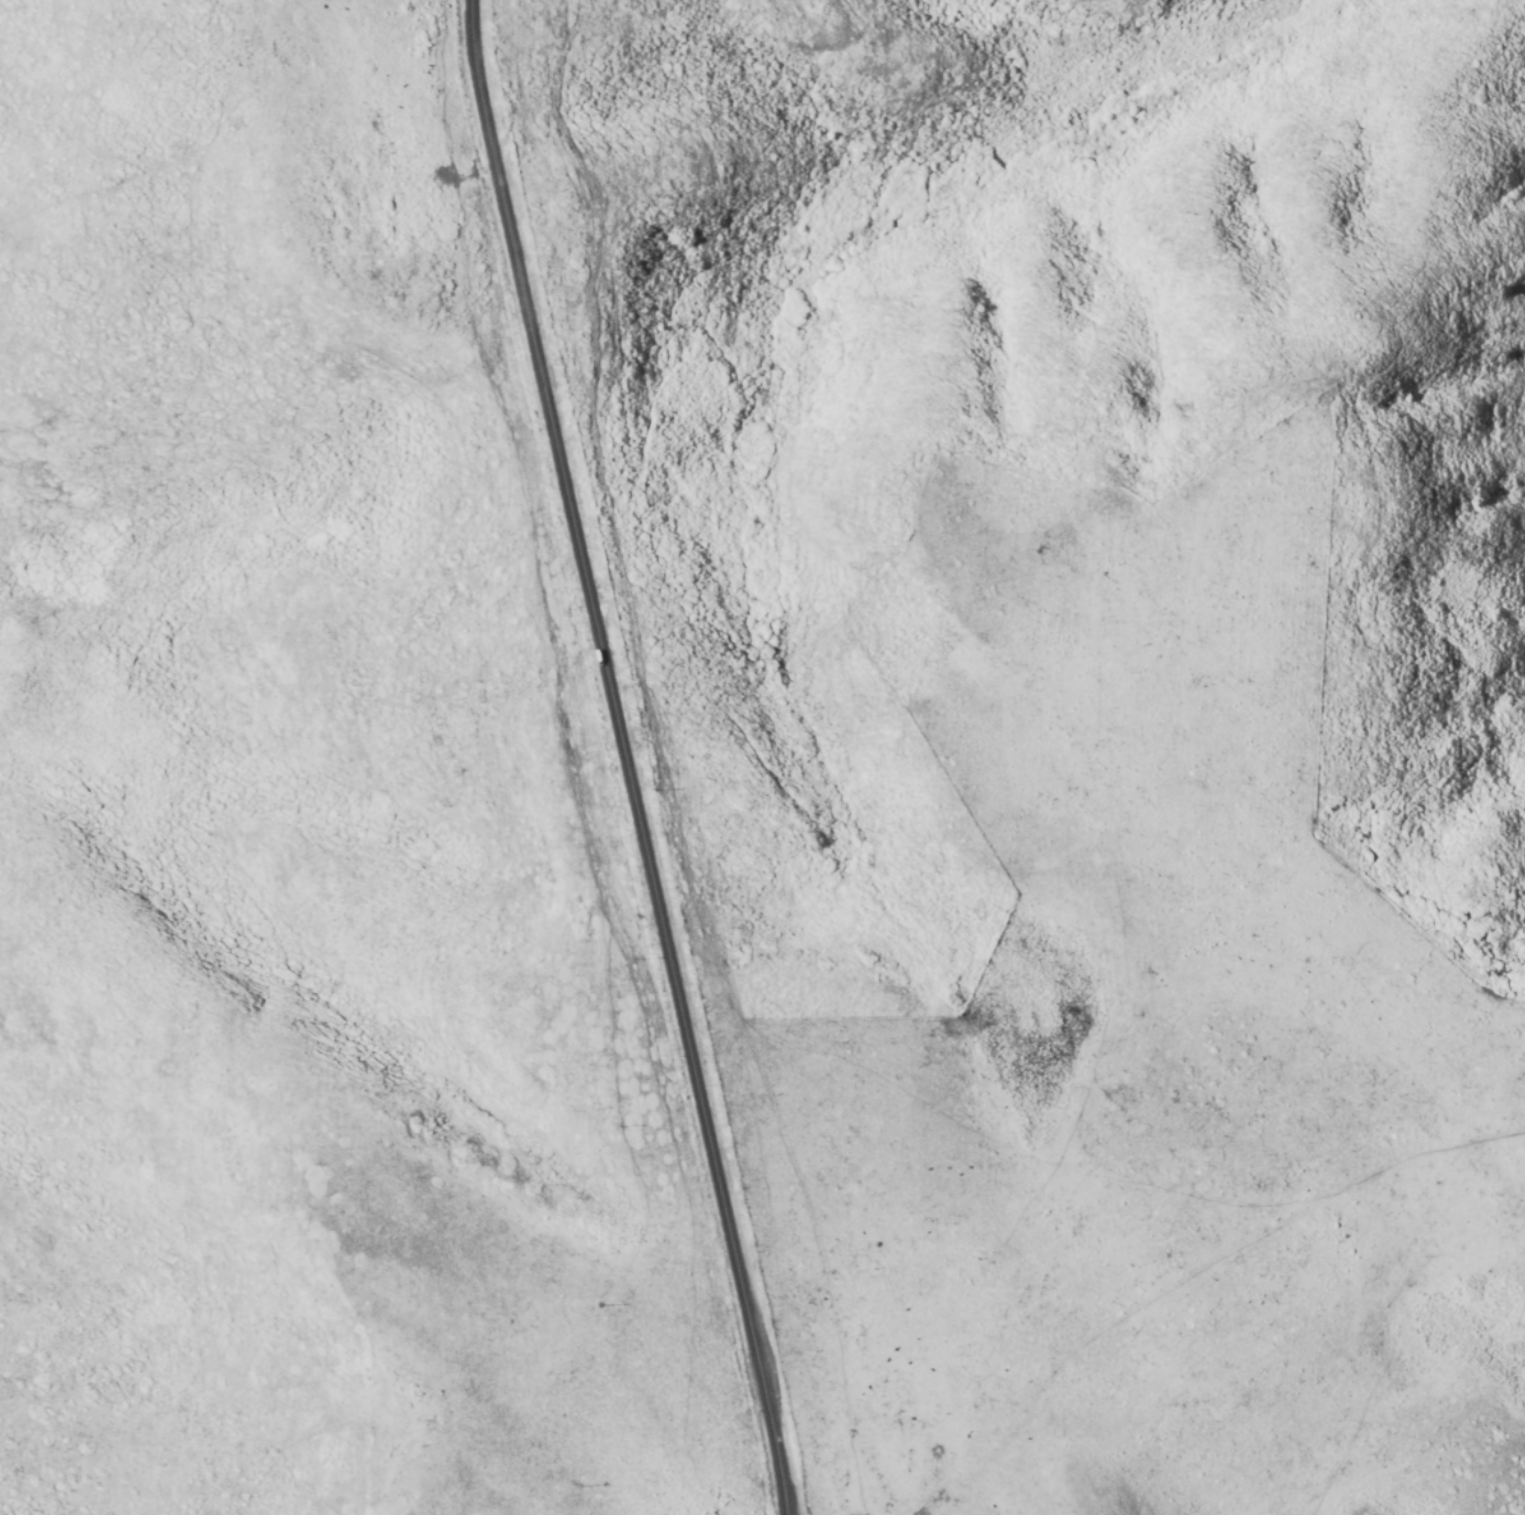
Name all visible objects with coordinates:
road: (625, 757)

